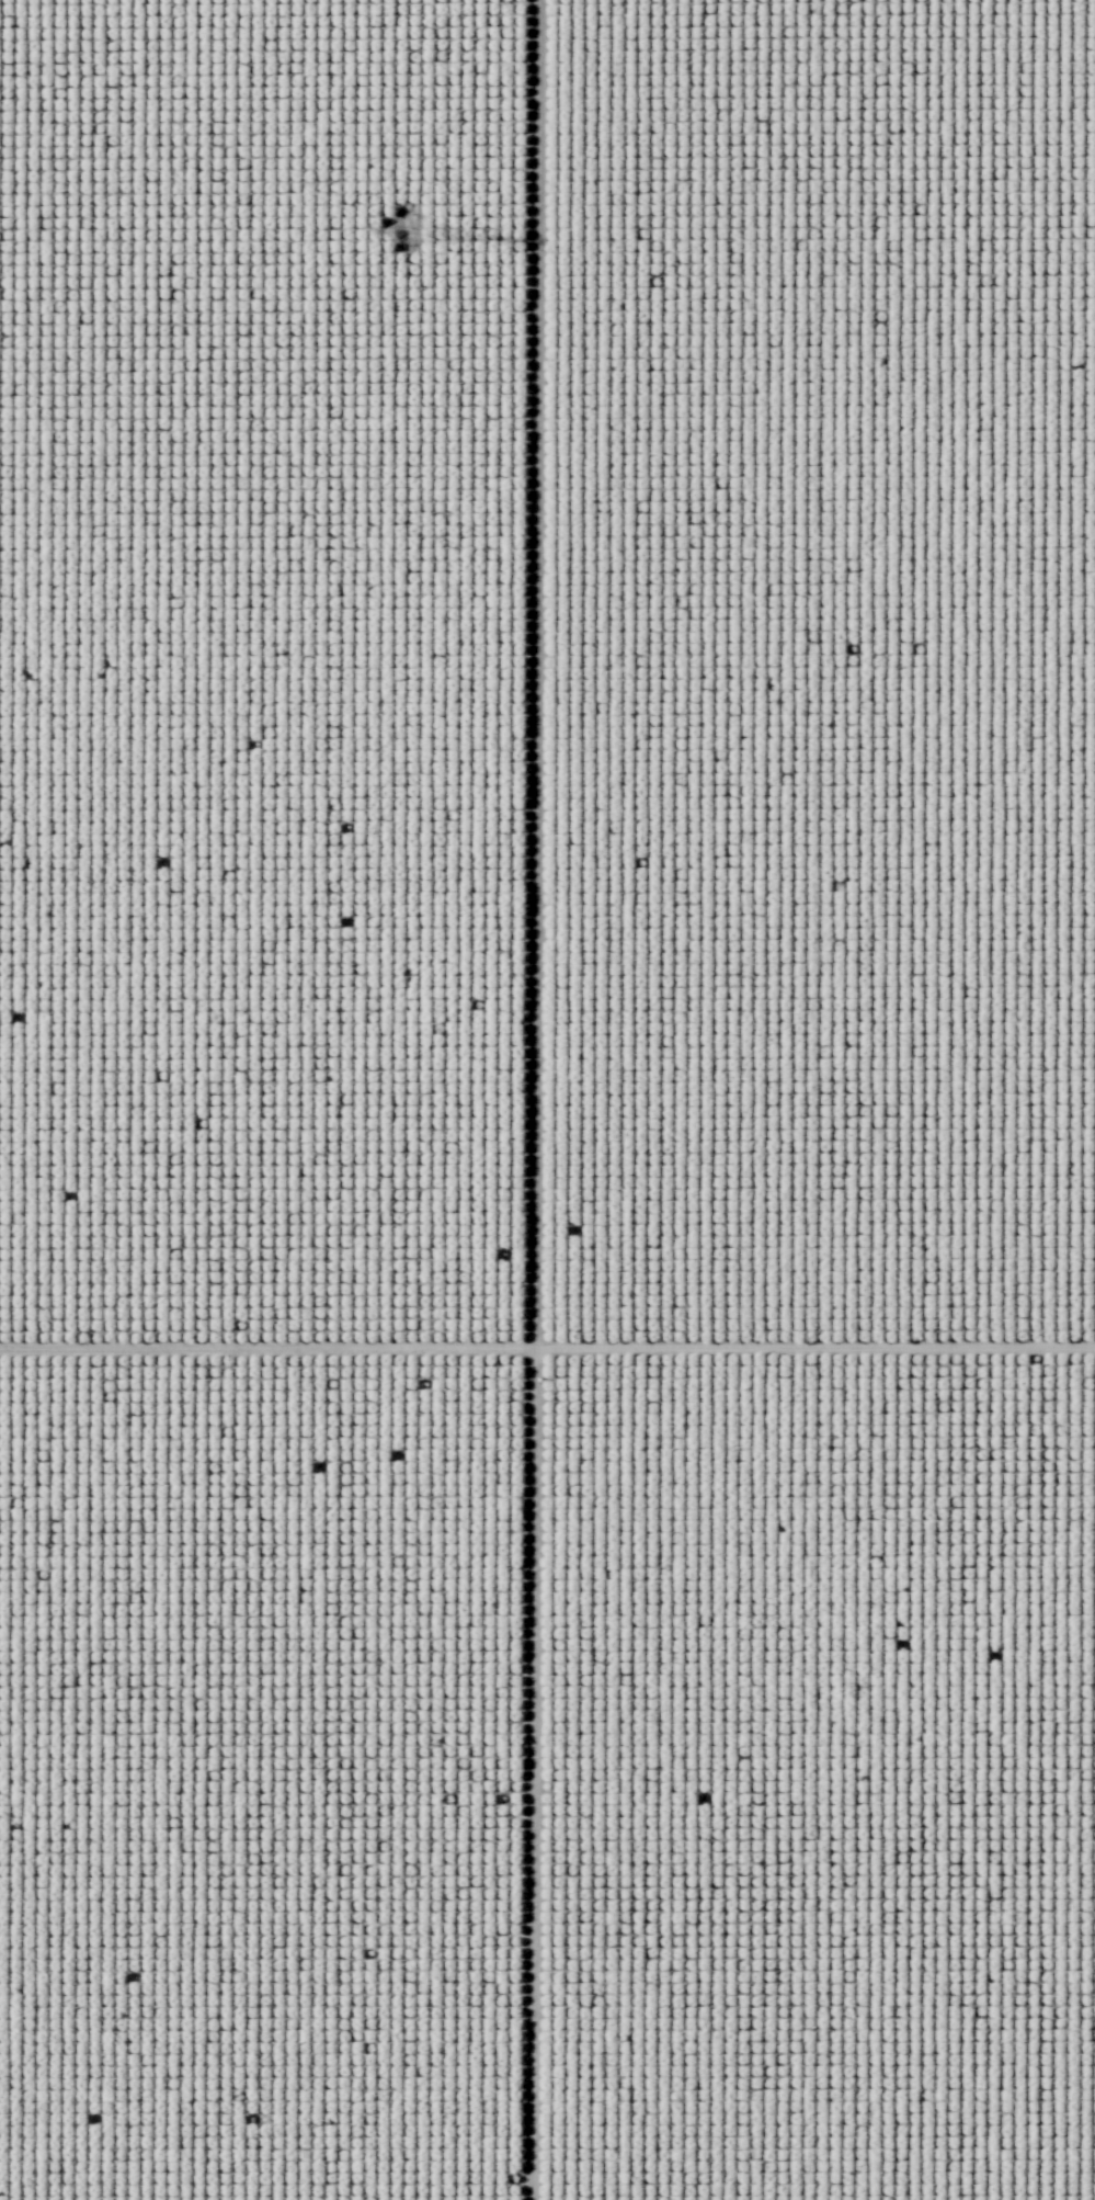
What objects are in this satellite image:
power tower: (407, 231)
road: (533, 1100)

